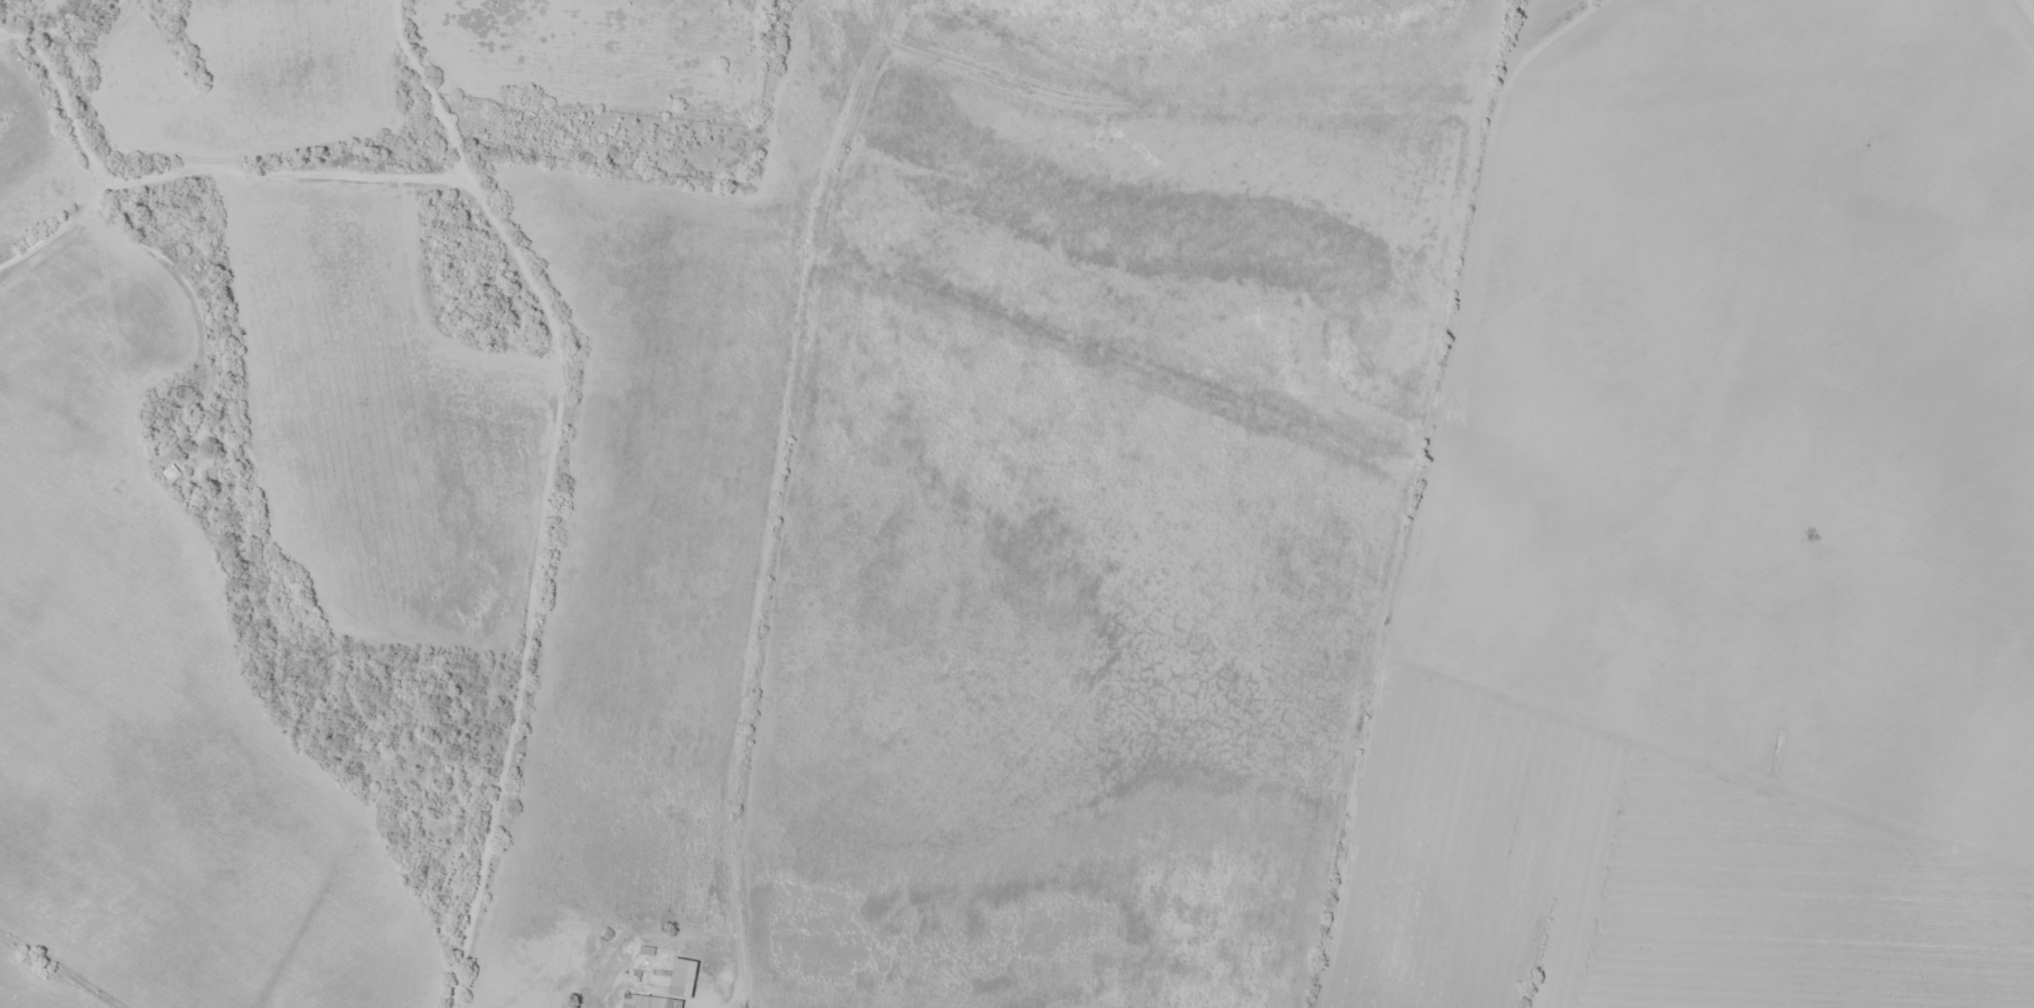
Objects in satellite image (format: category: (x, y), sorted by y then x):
road: (2026, 10)
road: (436, 92)
road: (62, 237)
road: (555, 306)
building: (197, 394)

